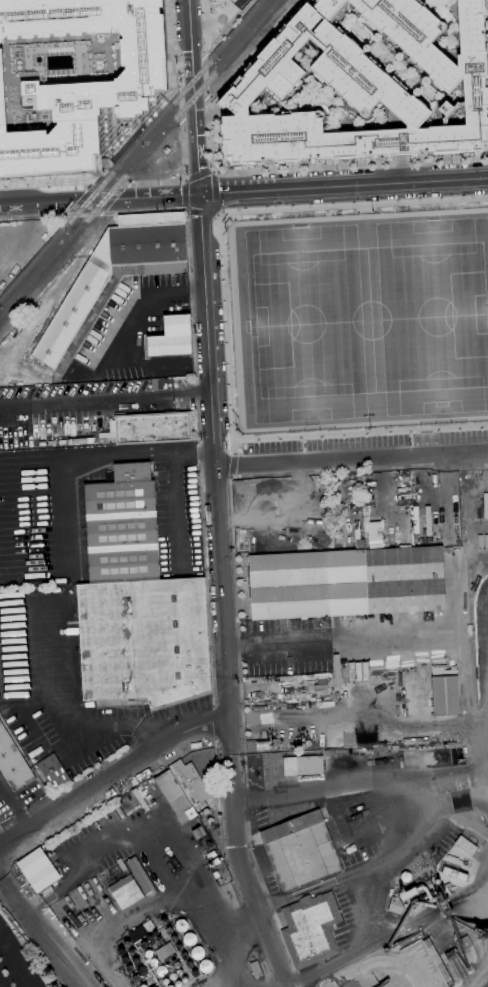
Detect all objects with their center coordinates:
road: (205, 28)
road: (178, 37)
traffic signals: (191, 51)
road: (487, 60)
railway: (26, 70)
road: (205, 76)
road: (171, 81)
building: (92, 87)
building: (362, 87)
road: (181, 98)
road: (194, 98)
railway: (175, 100)
railway: (190, 100)
road: (206, 102)
road: (129, 128)
building: (165, 150)
road: (400, 169)
road: (98, 170)
road: (246, 173)
road: (198, 174)
road: (184, 177)
road: (46, 181)
road: (111, 182)
road: (344, 186)
road: (213, 191)
road: (184, 194)
traffic signals: (200, 196)
road: (99, 201)
road: (201, 212)
railway: (75, 215)
road: (81, 215)
road: (218, 216)
road: (31, 217)
railway: (51, 259)
railway: (31, 264)
building: (112, 278)
park: (433, 314)
park: (370, 319)
road: (226, 321)
park: (305, 323)
park: (355, 323)
building: (172, 338)
road: (191, 395)
road: (85, 400)
road: (197, 413)
building: (149, 428)
road: (233, 448)
road: (204, 450)
road: (123, 454)
road: (350, 458)
road: (231, 465)
road: (416, 468)
road: (214, 475)
road: (179, 509)
building: (438, 519)
building: (416, 520)
building: (465, 528)
building: (347, 583)
building: (483, 587)
building: (137, 602)
road: (394, 635)
road: (232, 643)
road: (241, 687)
building: (446, 695)
road: (368, 715)
road: (214, 721)
road: (77, 726)
building: (263, 745)
building: (371, 745)
building: (421, 747)
building: (431, 747)
building: (412, 748)
building: (401, 749)
building: (334, 752)
building: (12, 762)
building: (303, 766)
building: (53, 772)
road: (111, 776)
building: (190, 782)
road: (217, 793)
building: (138, 796)
building: (175, 796)
road: (425, 807)
road: (0, 830)
building: (199, 833)
building: (300, 850)
building: (214, 862)
road: (174, 863)
building: (121, 865)
building: (37, 869)
road: (245, 873)
building: (454, 875)
building: (217, 876)
building: (141, 877)
building: (125, 892)
building: (409, 894)
road: (271, 905)
building: (396, 906)
building: (445, 906)
road: (119, 921)
building: (162, 921)
silo: (162, 921)
building: (179, 925)
silo: (179, 925)
building: (310, 929)
building: (168, 930)
silo: (168, 930)
road: (40, 931)
building: (152, 933)
silo: (152, 933)
building: (146, 936)
silo: (146, 936)
building: (156, 938)
silo: (156, 938)
building: (187, 938)
silo: (187, 938)
building: (173, 939)
silo: (173, 939)
building: (150, 941)
silo: (150, 941)
road: (285, 941)
building: (464, 943)
building: (123, 944)
silo: (123, 944)
building: (141, 944)
silo: (141, 944)
building: (178, 947)
silo: (178, 947)
road: (362, 948)
building: (128, 951)
silo: (128, 951)
building: (163, 951)
building: (117, 952)
silo: (117, 952)
building: (195, 952)
silo: (195, 952)
building: (147, 953)
silo: (147, 953)
building: (183, 955)
silo: (183, 955)
road: (18, 957)
building: (171, 958)
silo: (171, 958)
building: (123, 960)
silo: (123, 960)
building: (133, 961)
silo: (133, 961)
building: (151, 961)
silo: (151, 961)
building: (165, 962)
silo: (165, 962)
building: (176, 964)
silo: (176, 964)
building: (188, 964)
silo: (188, 964)
building: (203, 966)
silo: (203, 966)
building: (127, 968)
silo: (127, 968)
building: (159, 970)
silo: (159, 970)
building: (256, 970)
building: (140, 971)
silo: (140, 971)
building: (176, 972)
silo: (176, 972)
building: (193, 973)
silo: (193, 973)
building: (171, 977)
silo: (171, 977)
road: (482, 978)
building: (132, 979)
silo: (132, 979)
building: (182, 979)
silo: (182, 979)
building: (175, 984)
silo: (175, 984)
building: (140, 986)
silo: (140, 986)
building: (168, 986)
silo: (168, 986)

